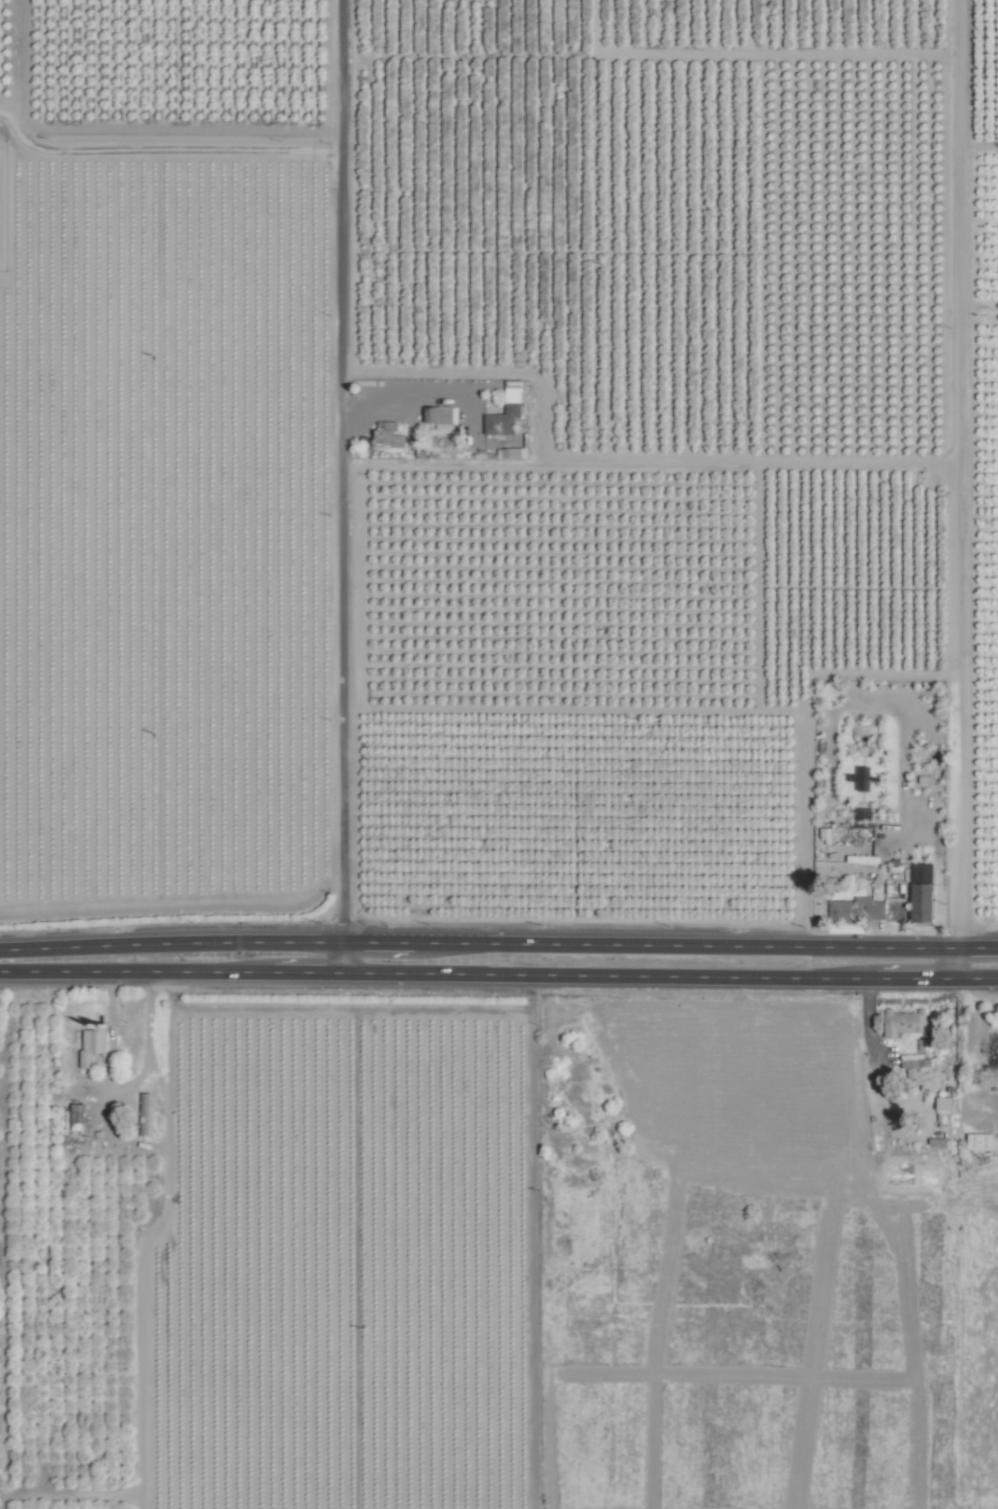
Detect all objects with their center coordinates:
road: (174, 128)
road: (393, 410)
building: (434, 414)
building: (499, 420)
building: (384, 436)
road: (483, 442)
building: (512, 452)
road: (623, 457)
road: (347, 486)
road: (958, 489)
crop: (429, 655)
building: (917, 902)
building: (853, 910)
road: (498, 944)
road: (499, 974)
road: (912, 1000)
road: (866, 1016)
building: (900, 1022)
building: (88, 1045)
building: (992, 1054)
road: (121, 1093)
building: (939, 1105)
building: (141, 1114)
building: (75, 1119)
building: (975, 1142)
crop: (785, 1165)
crop: (981, 1358)

